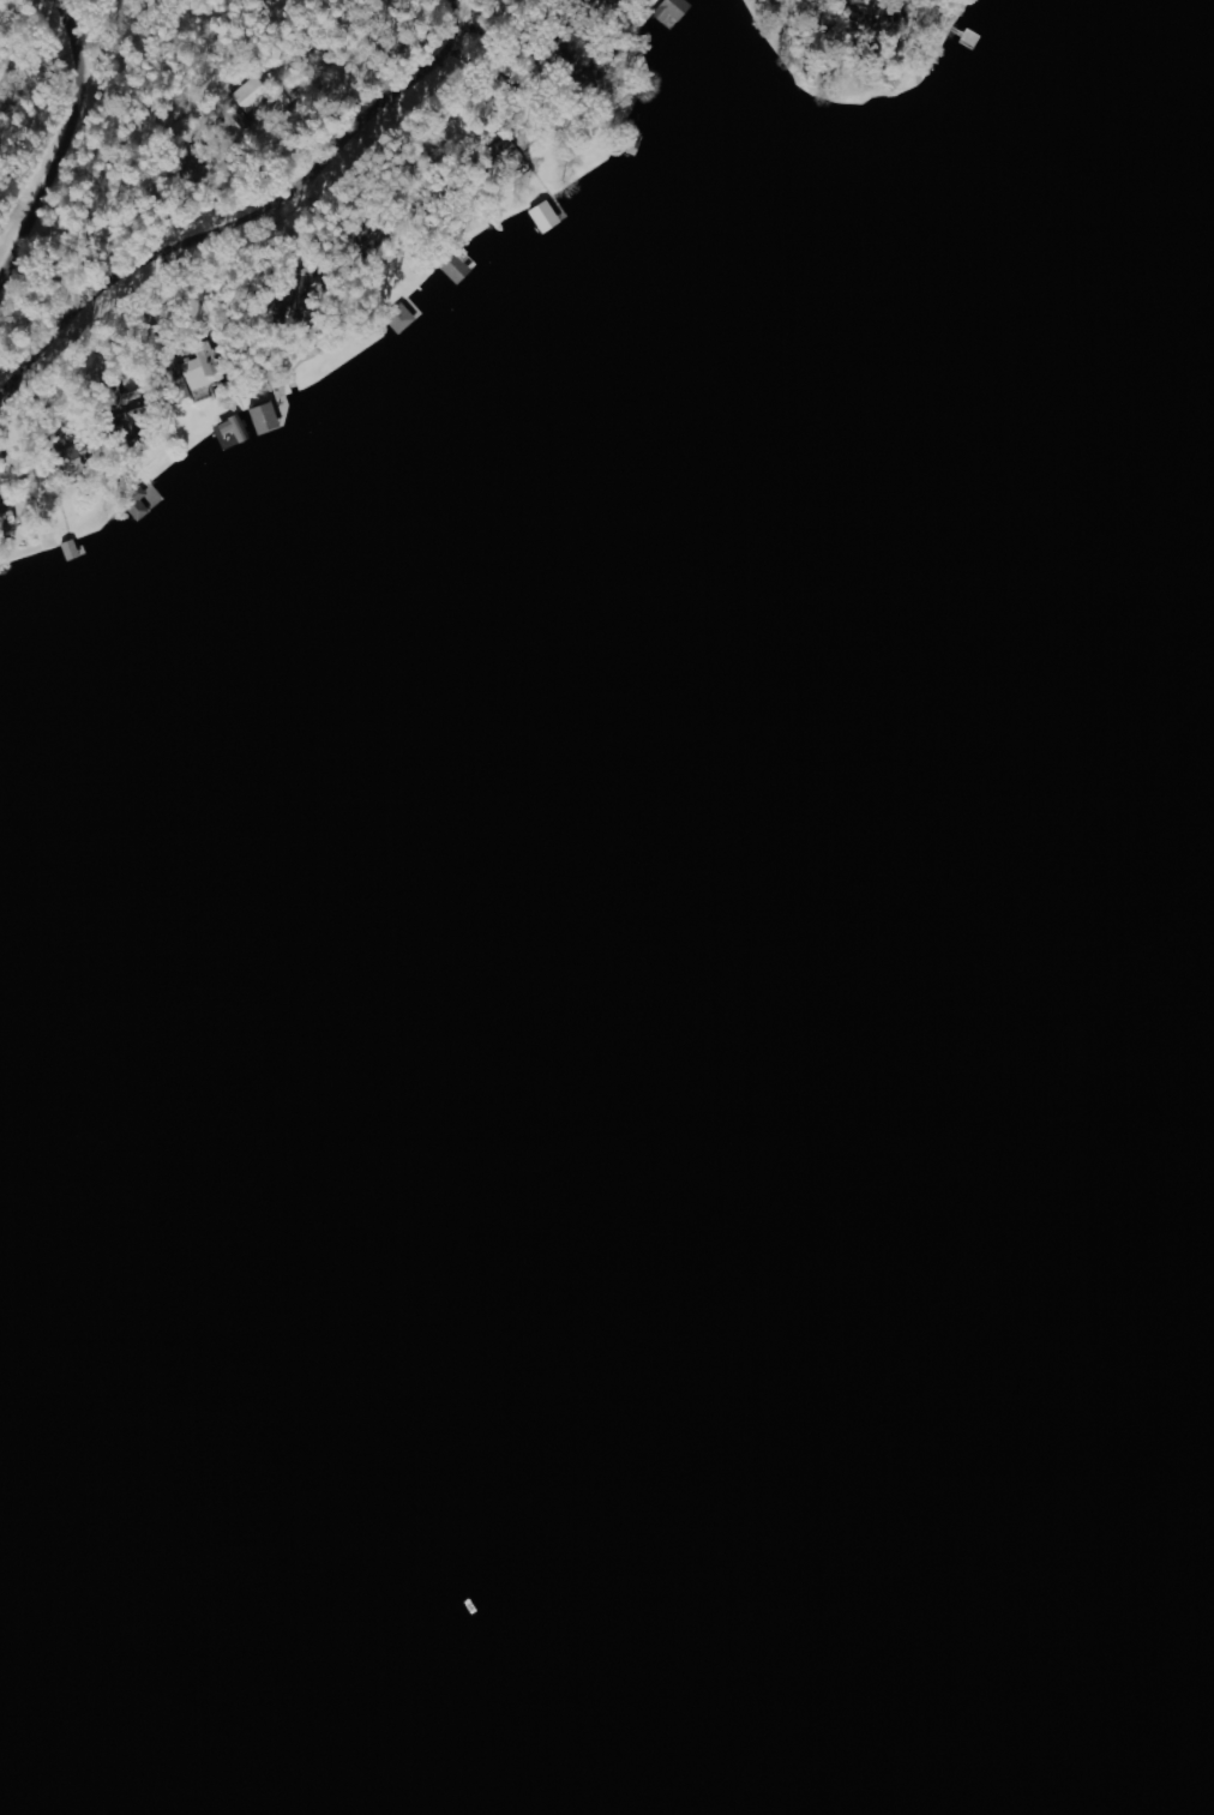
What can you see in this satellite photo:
building: (673, 12)
road: (791, 31)
road: (52, 44)
road: (95, 101)
road: (49, 126)
road: (256, 208)
building: (547, 217)
building: (403, 320)
building: (202, 372)
building: (268, 420)

